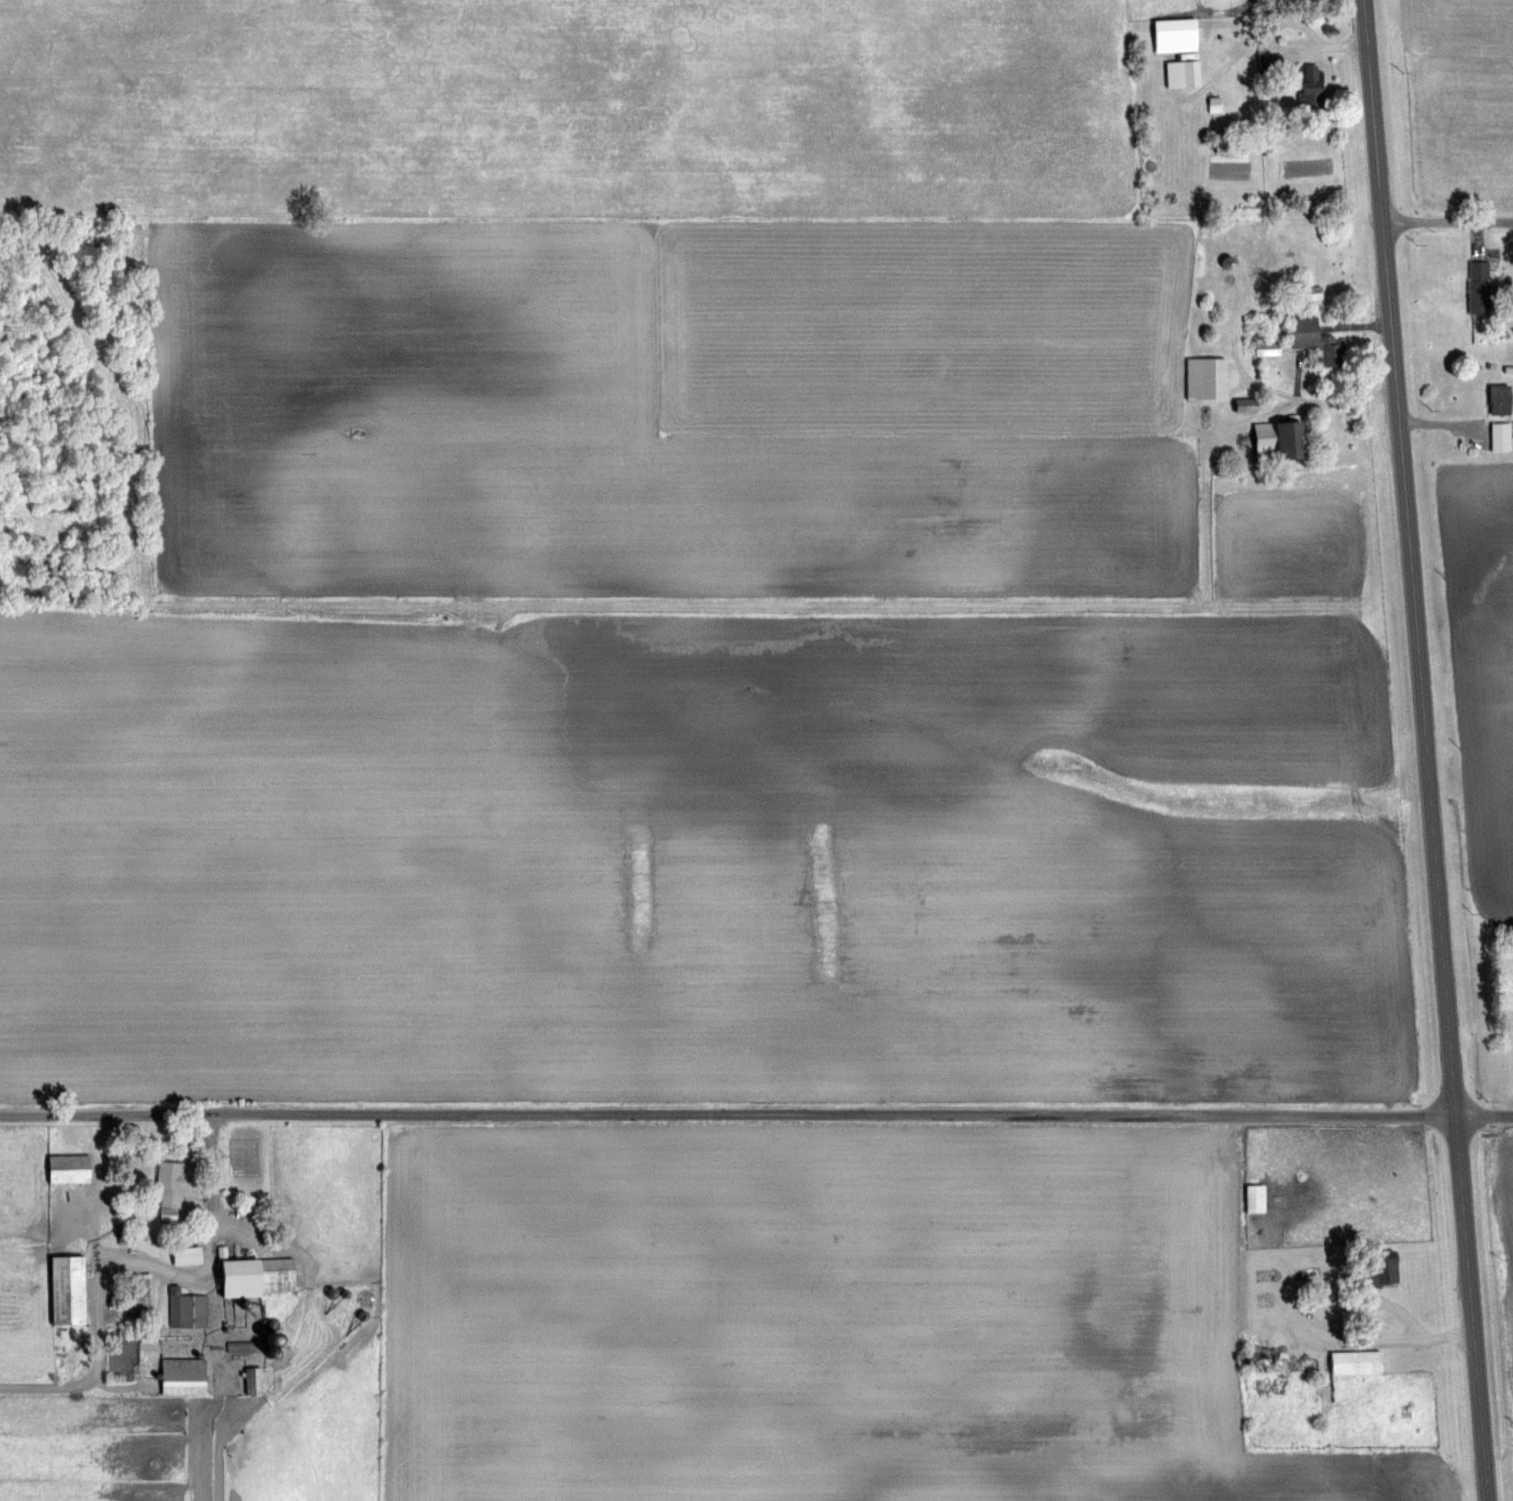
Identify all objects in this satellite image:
building: (1176, 35)
road: (1273, 43)
building: (1271, 61)
building: (1183, 74)
building: (1314, 82)
building: (1215, 104)
building: (1152, 165)
building: (1152, 197)
road: (1449, 223)
road: (1480, 236)
building: (1486, 290)
building: (1308, 292)
road: (1359, 325)
building: (1317, 340)
building: (1266, 347)
building: (1206, 378)
building: (1501, 398)
road: (1304, 399)
building: (1247, 404)
road: (1279, 408)
road: (1441, 425)
building: (1501, 436)
building: (1278, 440)
road: (1427, 750)
road: (756, 1116)
building: (70, 1168)
building: (172, 1186)
building: (1256, 1198)
building: (134, 1235)
building: (187, 1255)
building: (1381, 1268)
building: (253, 1275)
road: (191, 1277)
building: (68, 1290)
building: (137, 1293)
road: (1372, 1304)
building: (187, 1308)
building: (1267, 1359)
building: (1356, 1362)
building: (184, 1367)
building: (253, 1381)
building: (184, 1386)
road: (60, 1387)

